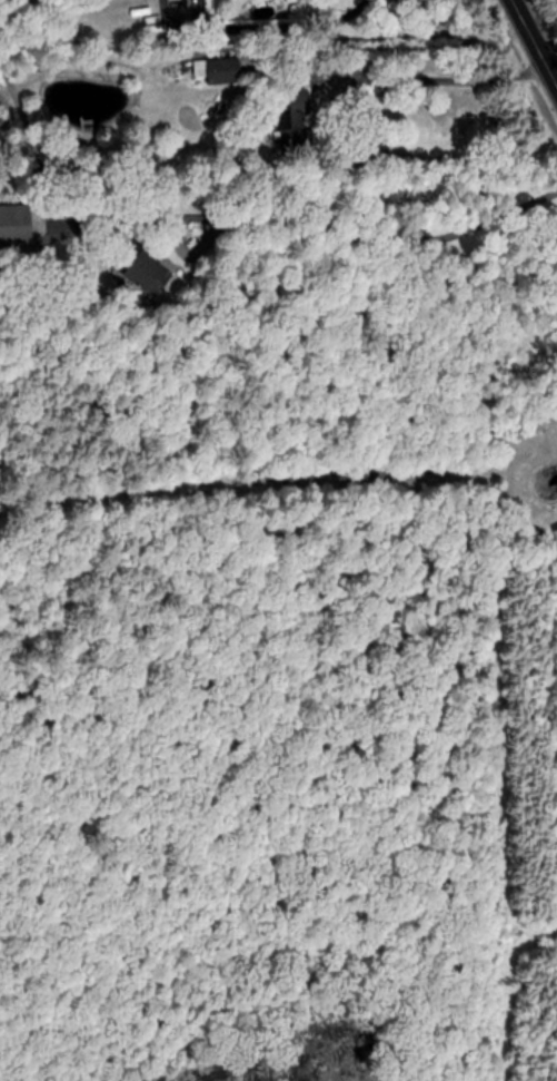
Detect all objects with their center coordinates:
road: (275, 27)
road: (528, 52)
building: (215, 70)
road: (419, 76)
building: (16, 225)
building: (136, 273)
building: (553, 531)

